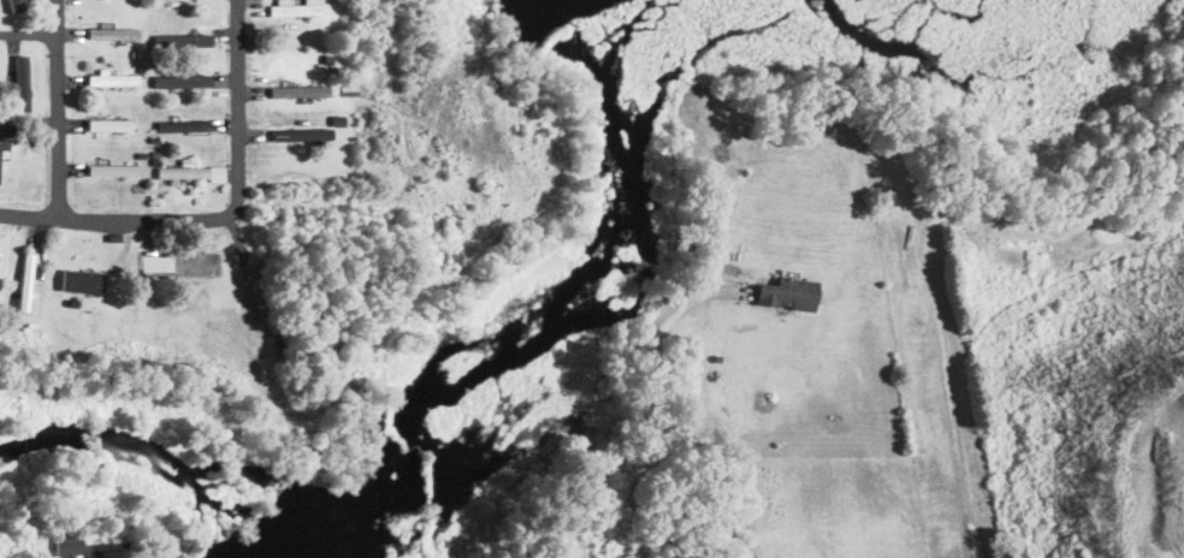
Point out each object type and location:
building: (296, 10)
road: (29, 35)
building: (113, 35)
building: (183, 40)
building: (136, 53)
building: (142, 70)
building: (114, 81)
building: (183, 81)
building: (22, 82)
building: (301, 89)
road: (59, 109)
building: (338, 120)
building: (111, 126)
building: (184, 126)
building: (714, 130)
building: (772, 131)
building: (332, 136)
building: (296, 137)
building: (0, 138)
building: (156, 162)
building: (187, 164)
building: (112, 171)
building: (193, 174)
building: (137, 188)
road: (224, 216)
building: (113, 238)
building: (26, 283)
building: (85, 286)
building: (789, 295)
building: (284, 348)
building: (114, 356)
building: (718, 358)
road: (700, 405)
building: (69, 545)

